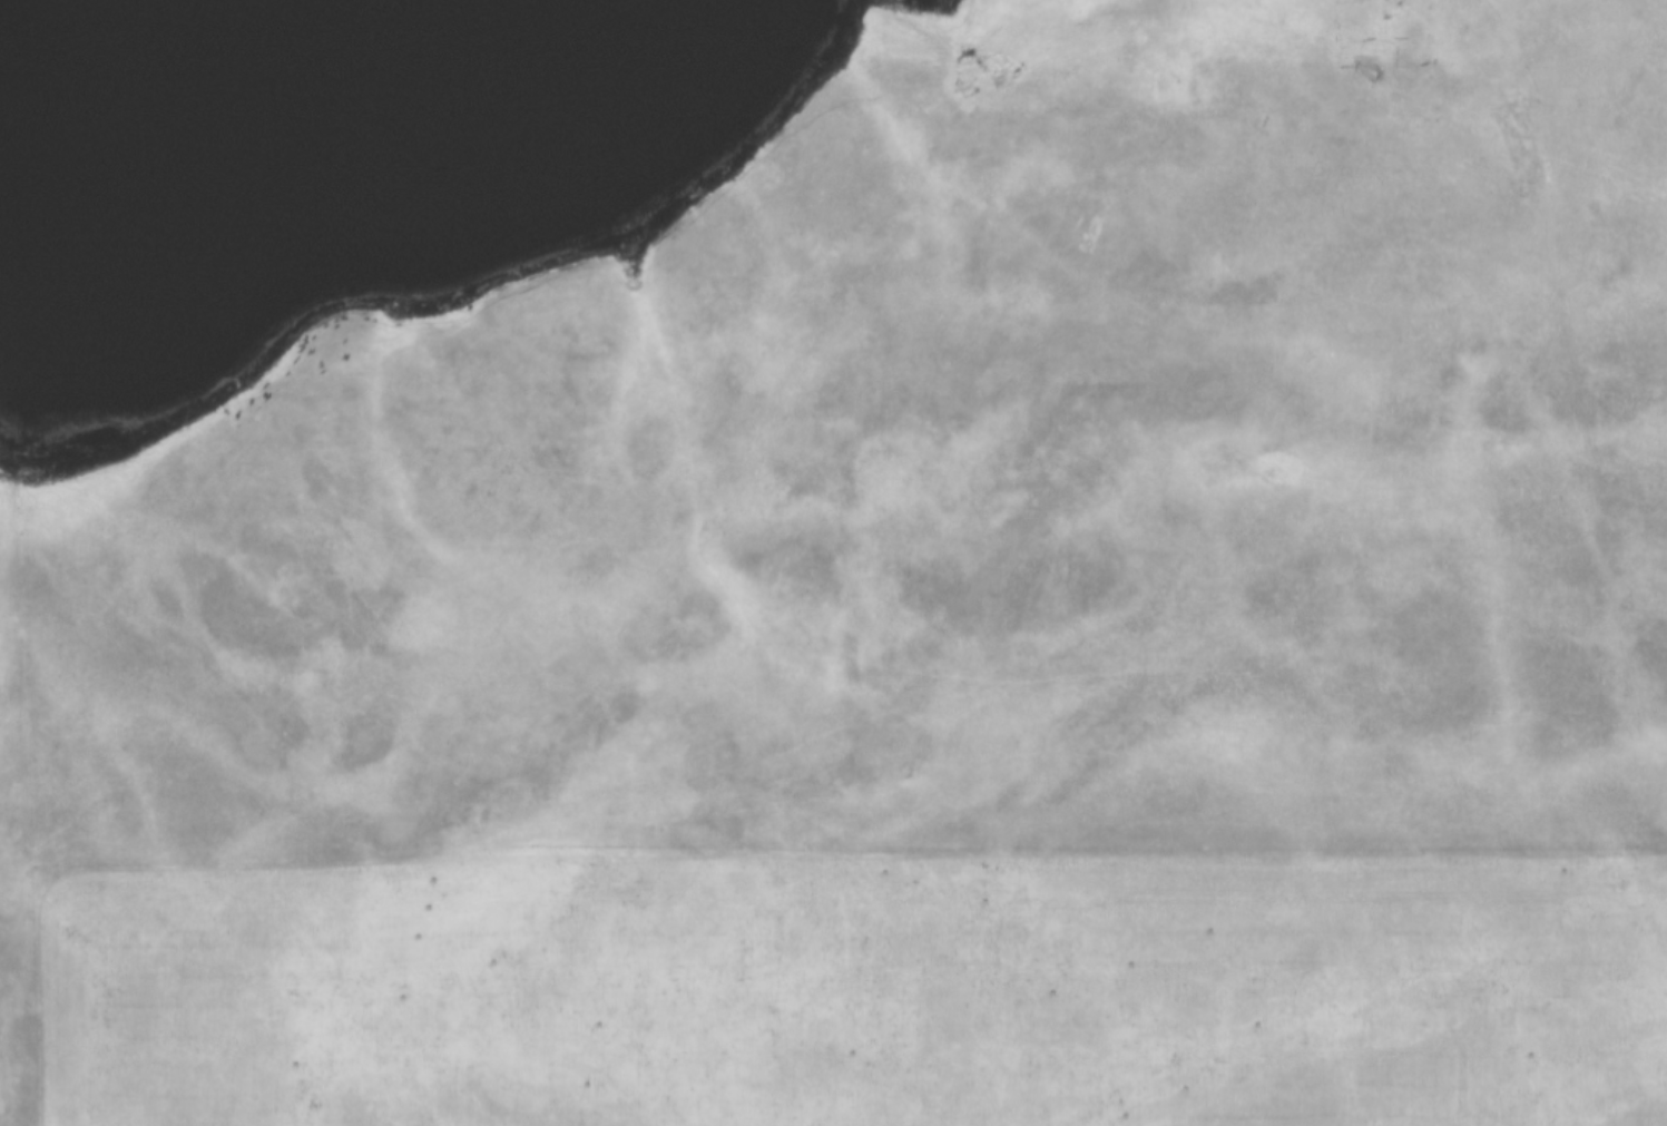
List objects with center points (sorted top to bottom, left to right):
road: (1598, 408)

